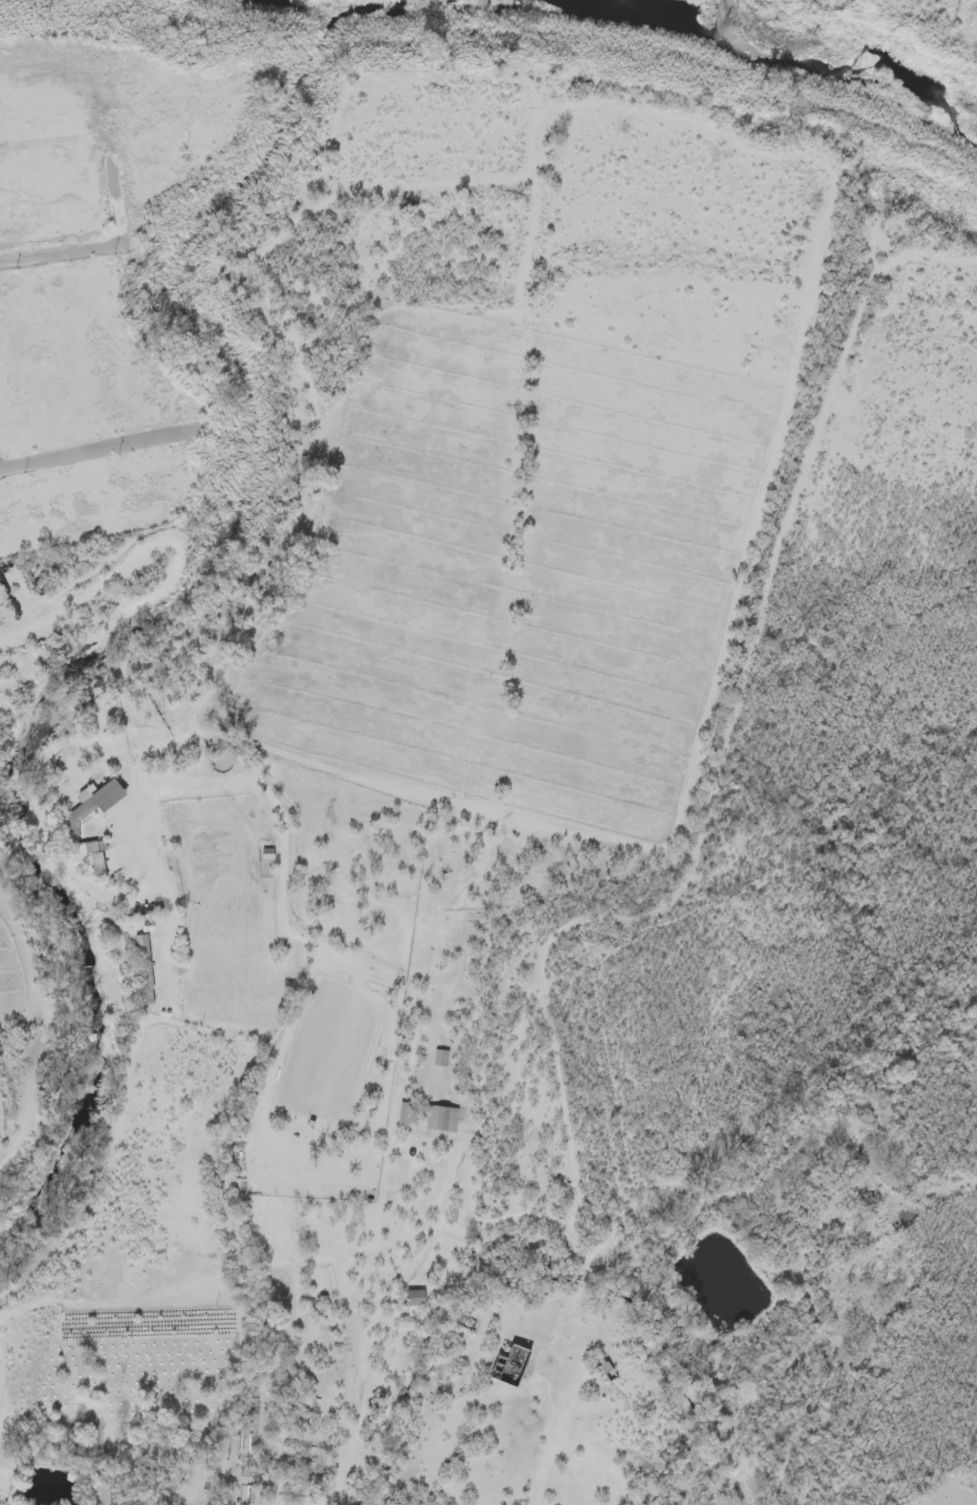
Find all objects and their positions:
river: (796, 45)

